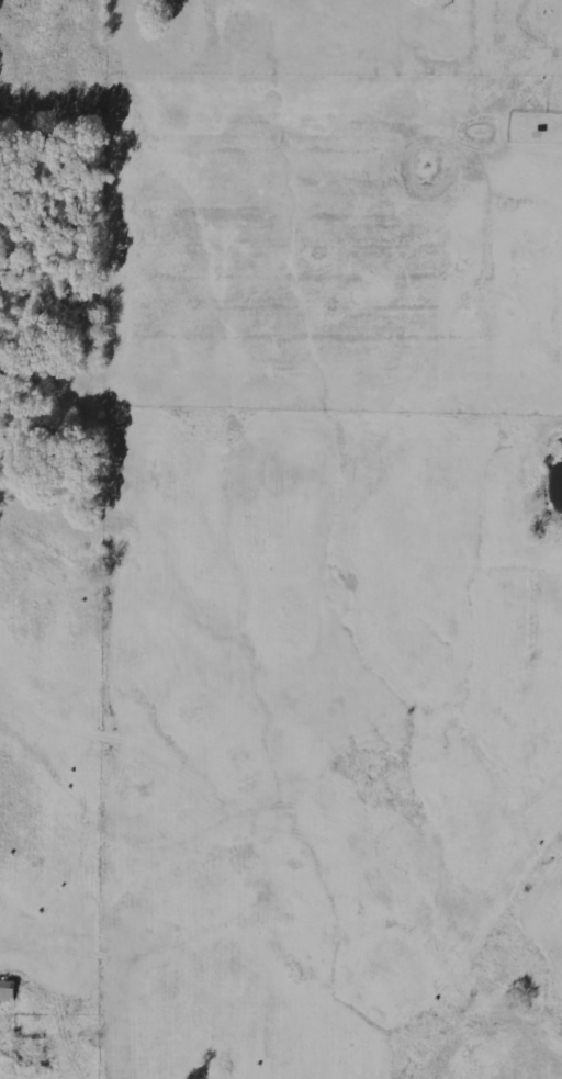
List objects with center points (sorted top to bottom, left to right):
building: (7, 990)

